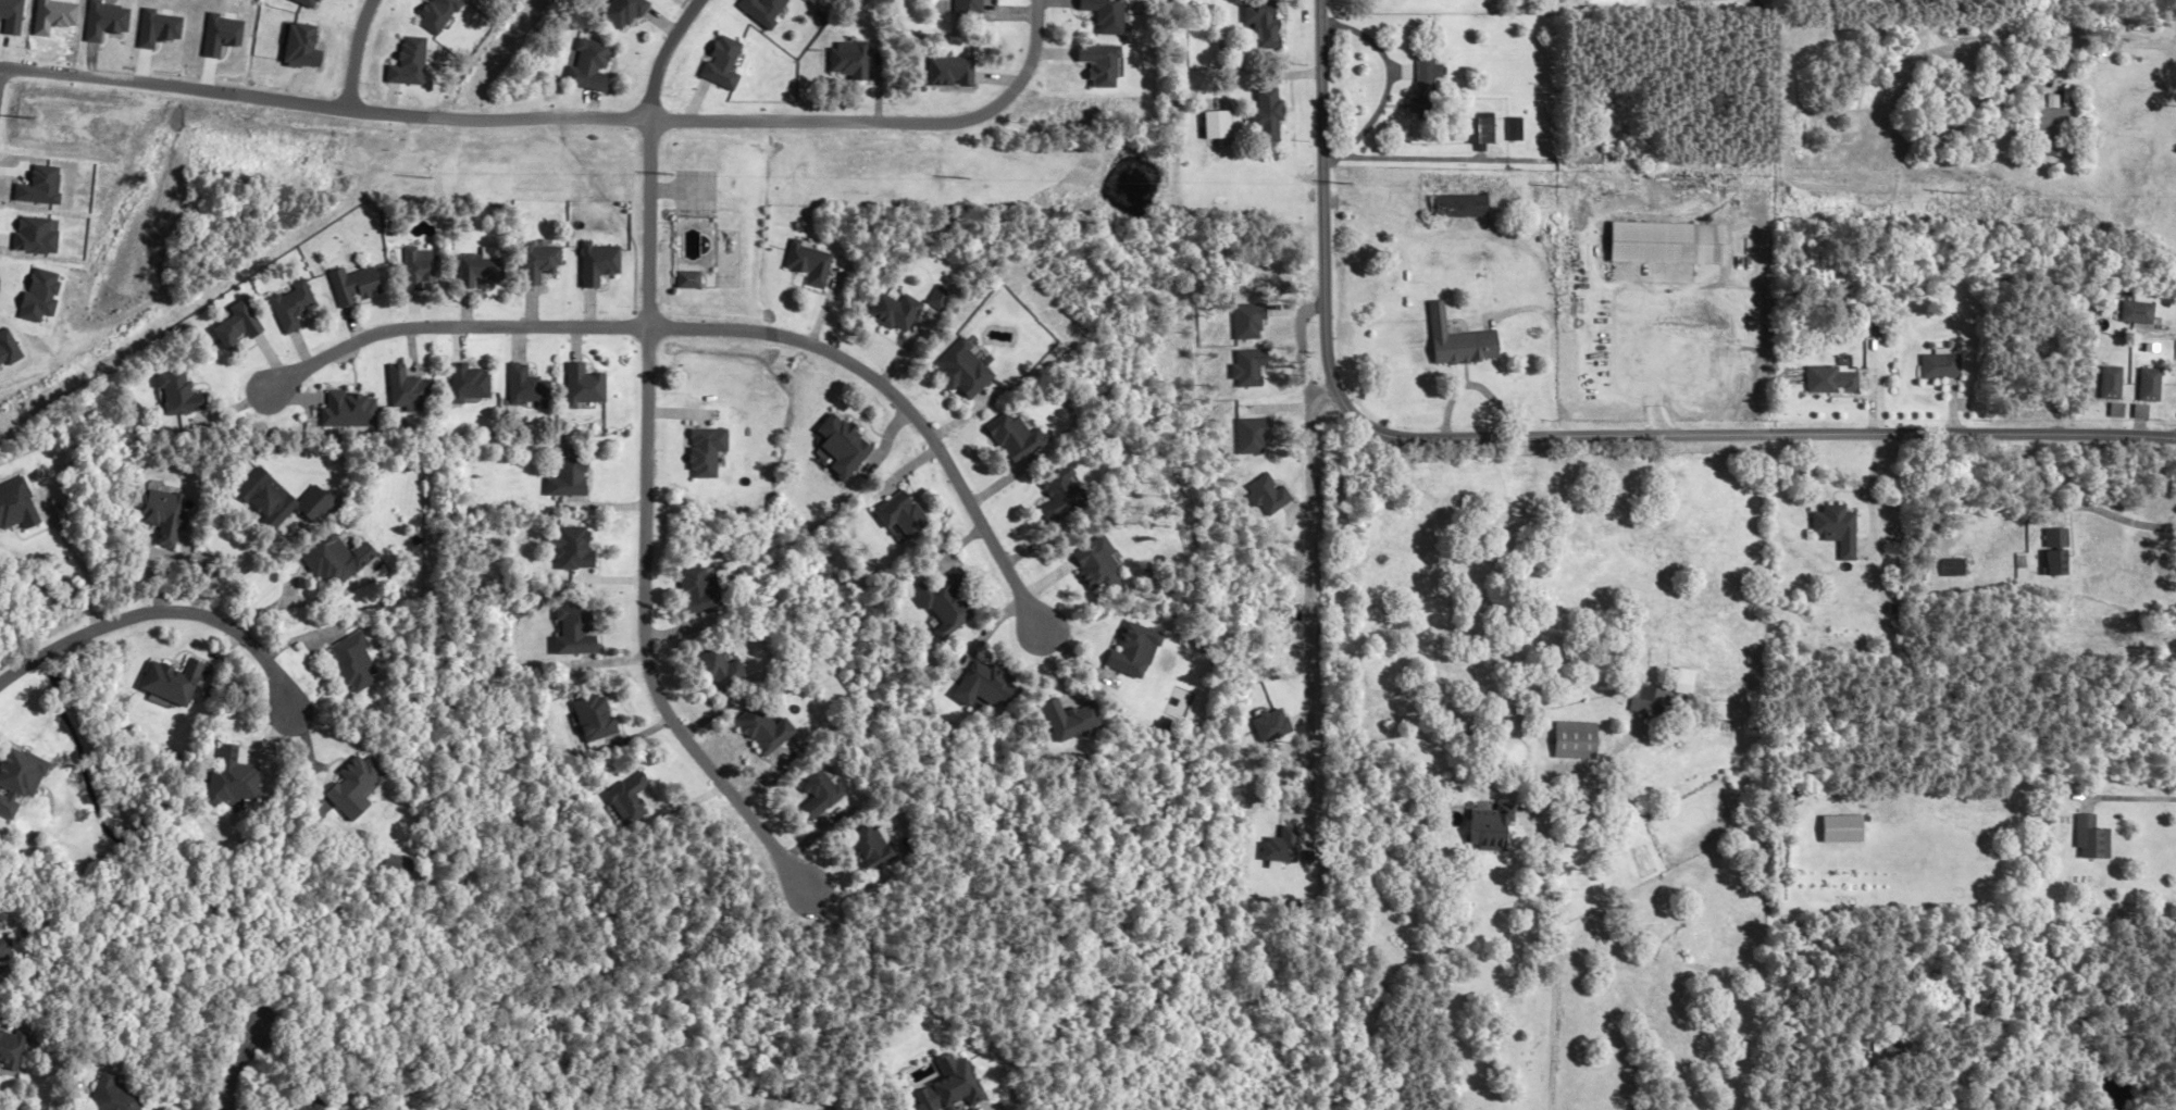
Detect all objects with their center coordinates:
building: (971, 10)
building: (1266, 23)
road: (2106, 46)
road: (355, 51)
building: (590, 64)
road: (1389, 83)
building: (1425, 88)
road: (222, 89)
building: (1268, 115)
road: (545, 119)
road: (885, 121)
building: (1221, 127)
building: (1482, 130)
building: (2048, 132)
building: (1457, 207)
building: (1663, 244)
building: (421, 267)
building: (481, 271)
building: (693, 279)
building: (356, 285)
building: (898, 312)
building: (2139, 313)
road: (447, 326)
building: (1454, 341)
building: (2034, 348)
road: (1302, 353)
building: (1941, 366)
road: (1656, 371)
building: (1829, 381)
building: (2111, 383)
building: (470, 384)
building: (2150, 386)
building: (529, 388)
road: (899, 400)
road: (1550, 435)
road: (645, 467)
building: (573, 474)
building: (1065, 495)
building: (286, 499)
building: (18, 506)
building: (906, 513)
road: (2116, 515)
building: (172, 516)
building: (1833, 529)
building: (577, 548)
building: (2053, 551)
building: (338, 561)
road: (80, 565)
building: (1951, 568)
road: (1308, 598)
building: (953, 602)
road: (157, 613)
building: (577, 629)
building: (1142, 650)
building: (356, 662)
building: (728, 669)
building: (181, 682)
building: (1646, 701)
building: (770, 729)
building: (1568, 741)
building: (238, 780)
building: (22, 781)
building: (360, 788)
building: (633, 799)
building: (1782, 800)
building: (1479, 831)
building: (2085, 839)
building: (880, 846)
building: (403, 866)
building: (0, 930)
road: (1541, 933)
building: (13, 1048)
road: (229, 1069)
building: (117, 1095)
building: (312, 1109)

